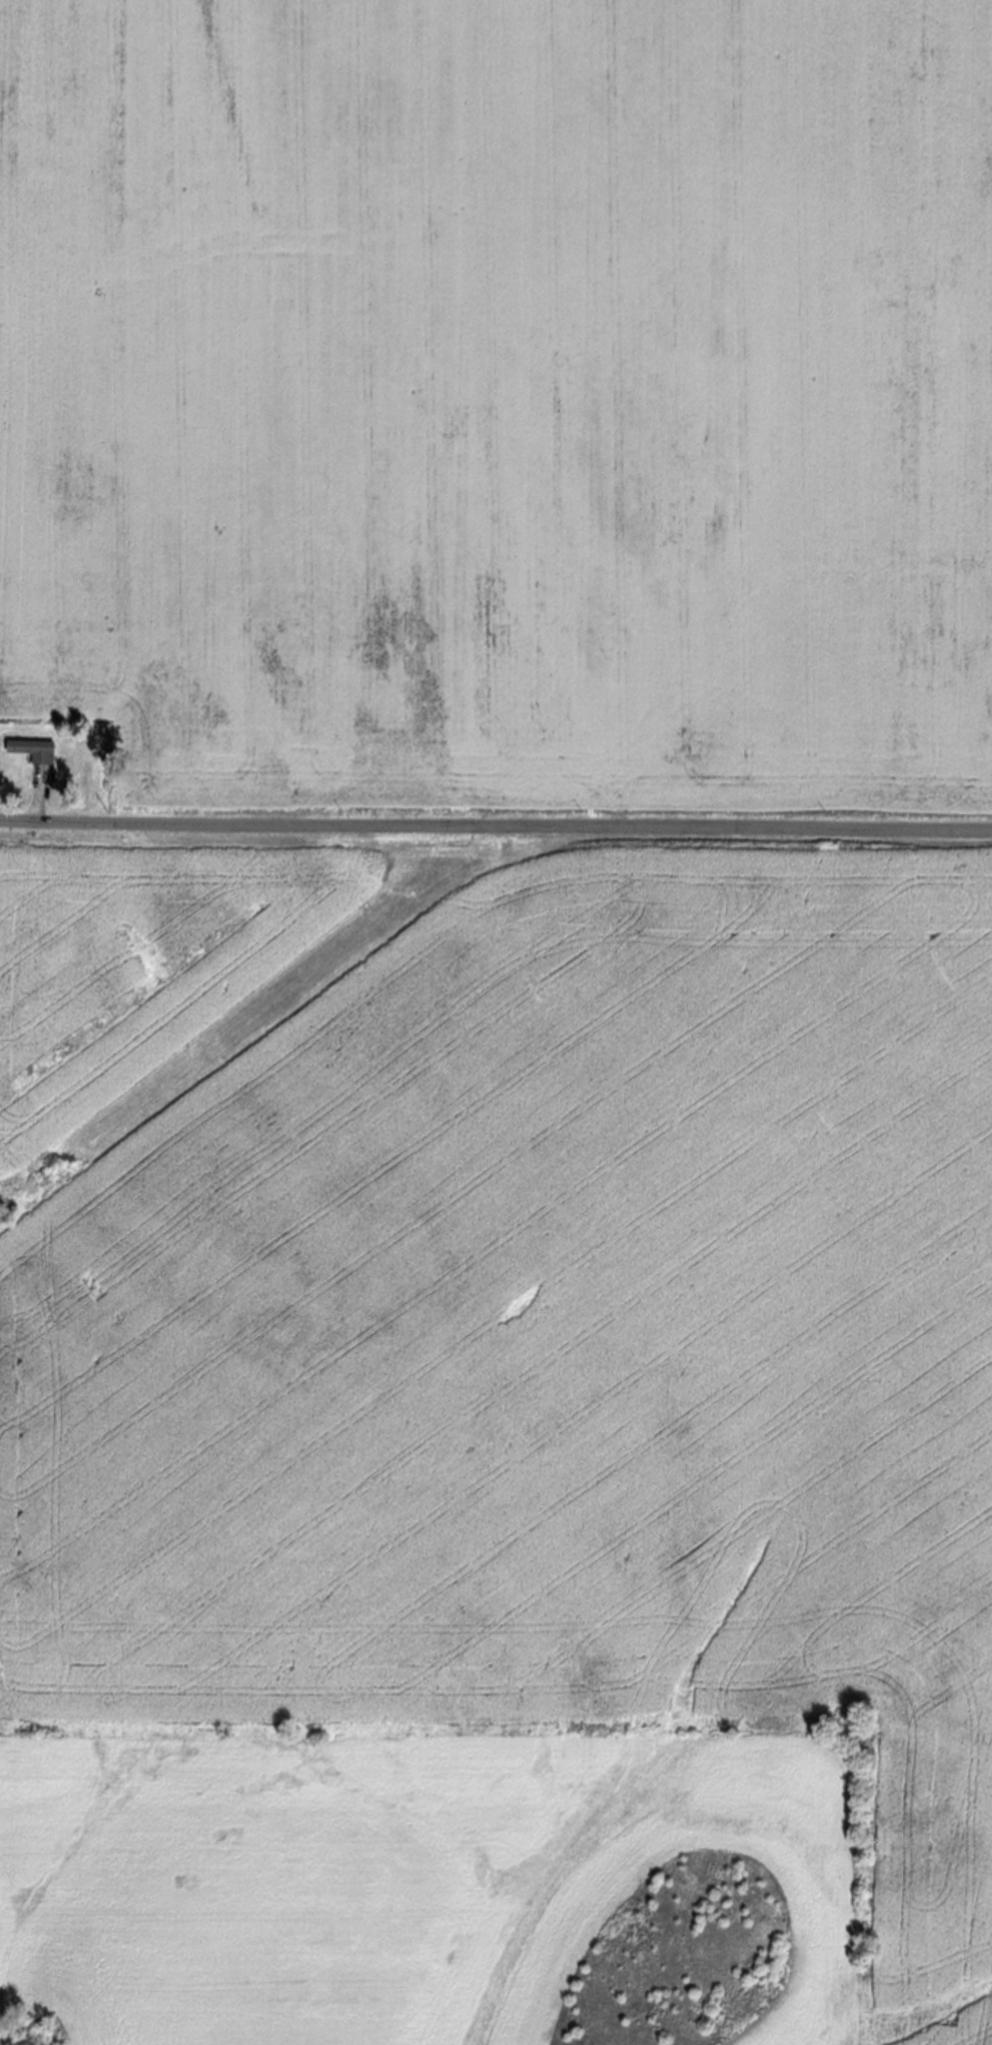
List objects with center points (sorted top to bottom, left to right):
building: (35, 749)
road: (495, 825)

